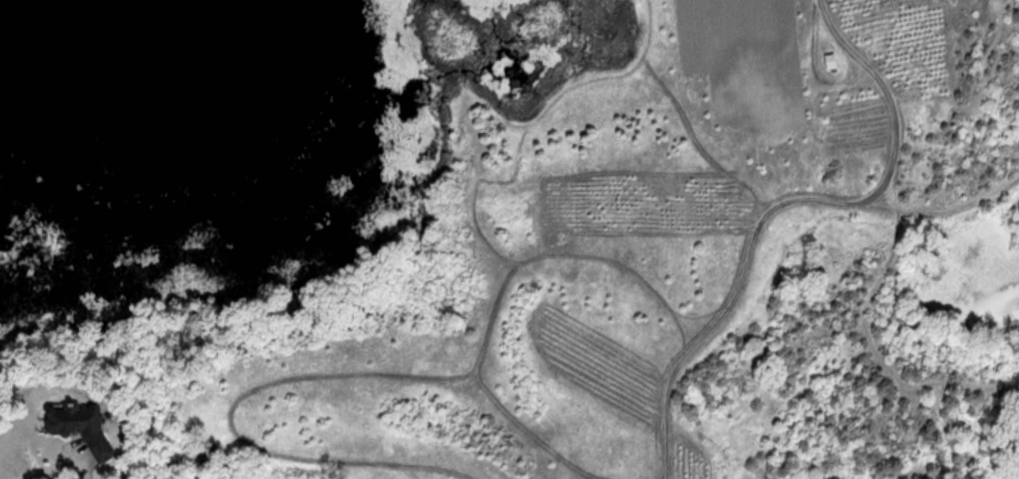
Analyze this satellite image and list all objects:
road: (792, 204)
building: (86, 426)
road: (87, 471)

